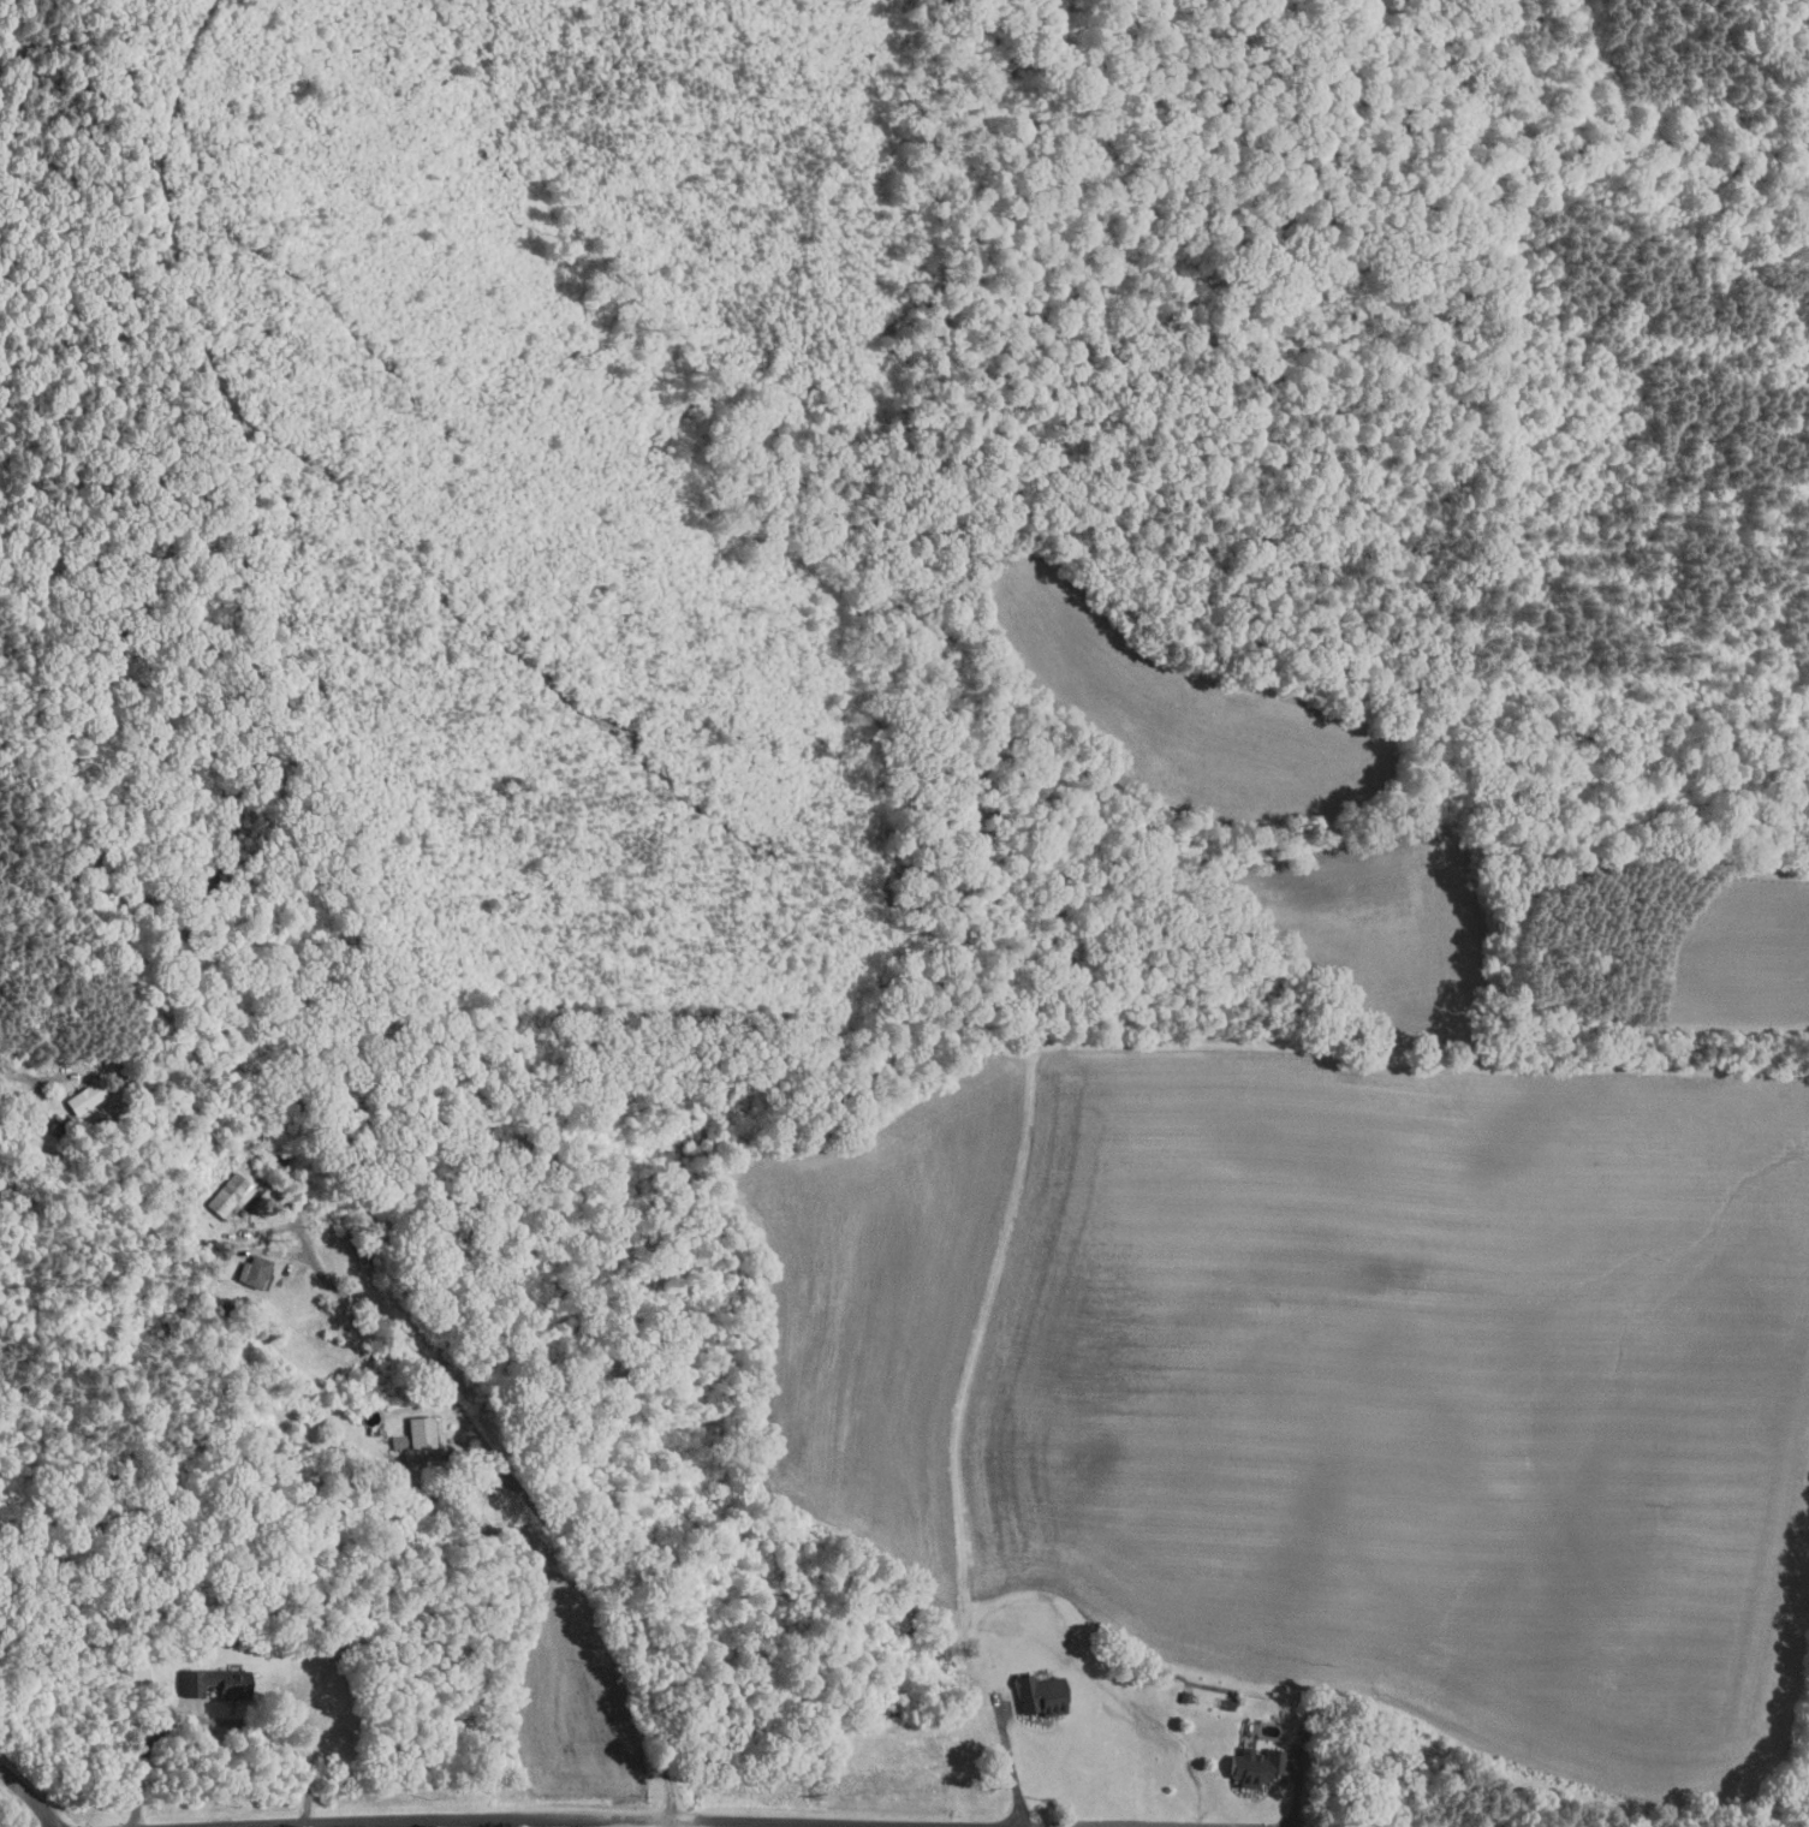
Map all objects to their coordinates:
road: (19, 1077)
building: (88, 1096)
building: (227, 1196)
building: (250, 1272)
road: (537, 1511)
building: (212, 1683)
building: (1037, 1694)
road: (216, 1719)
building: (1251, 1764)
road: (1011, 1766)
road: (29, 1795)
road: (641, 1820)
road: (415, 1825)
road: (891, 1826)

